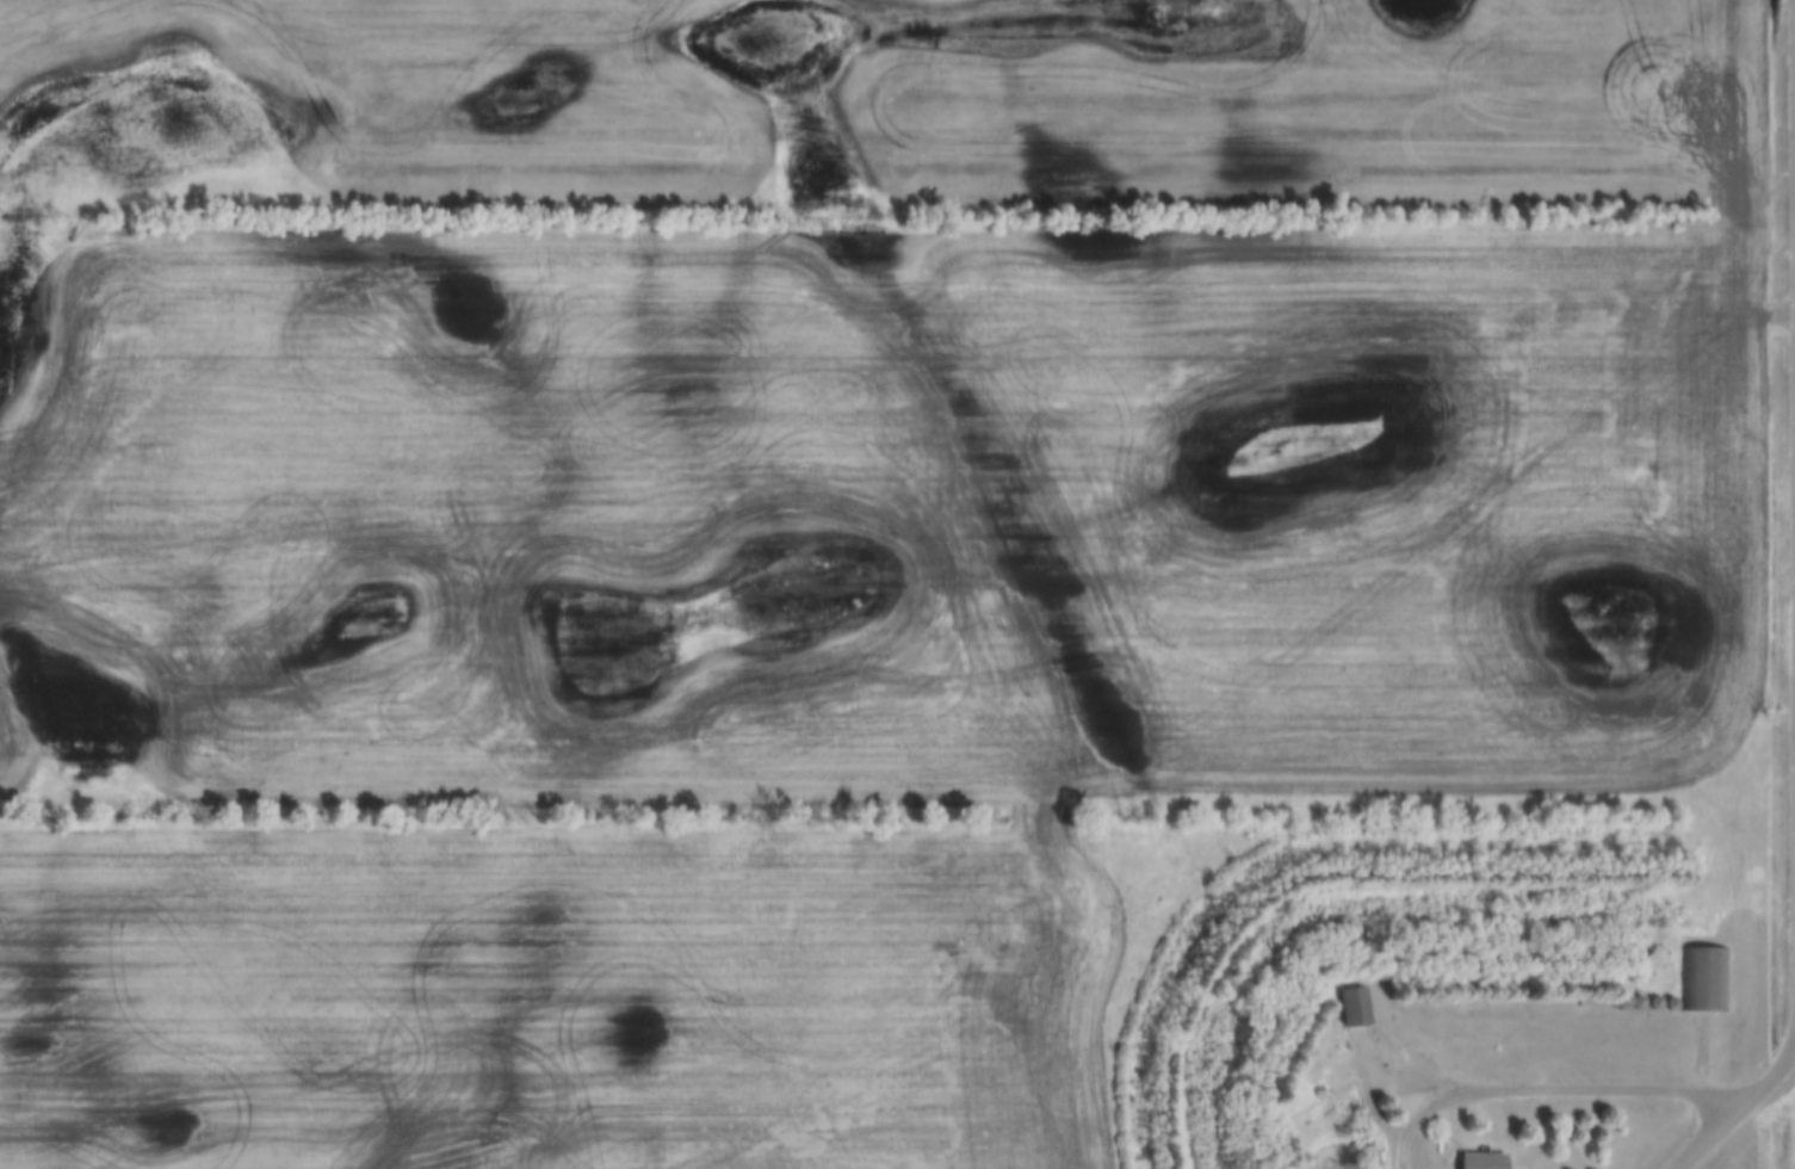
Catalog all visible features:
building: (1703, 981)
building: (1358, 1008)
road: (1549, 1082)
road: (1739, 1107)
building: (1484, 1162)

